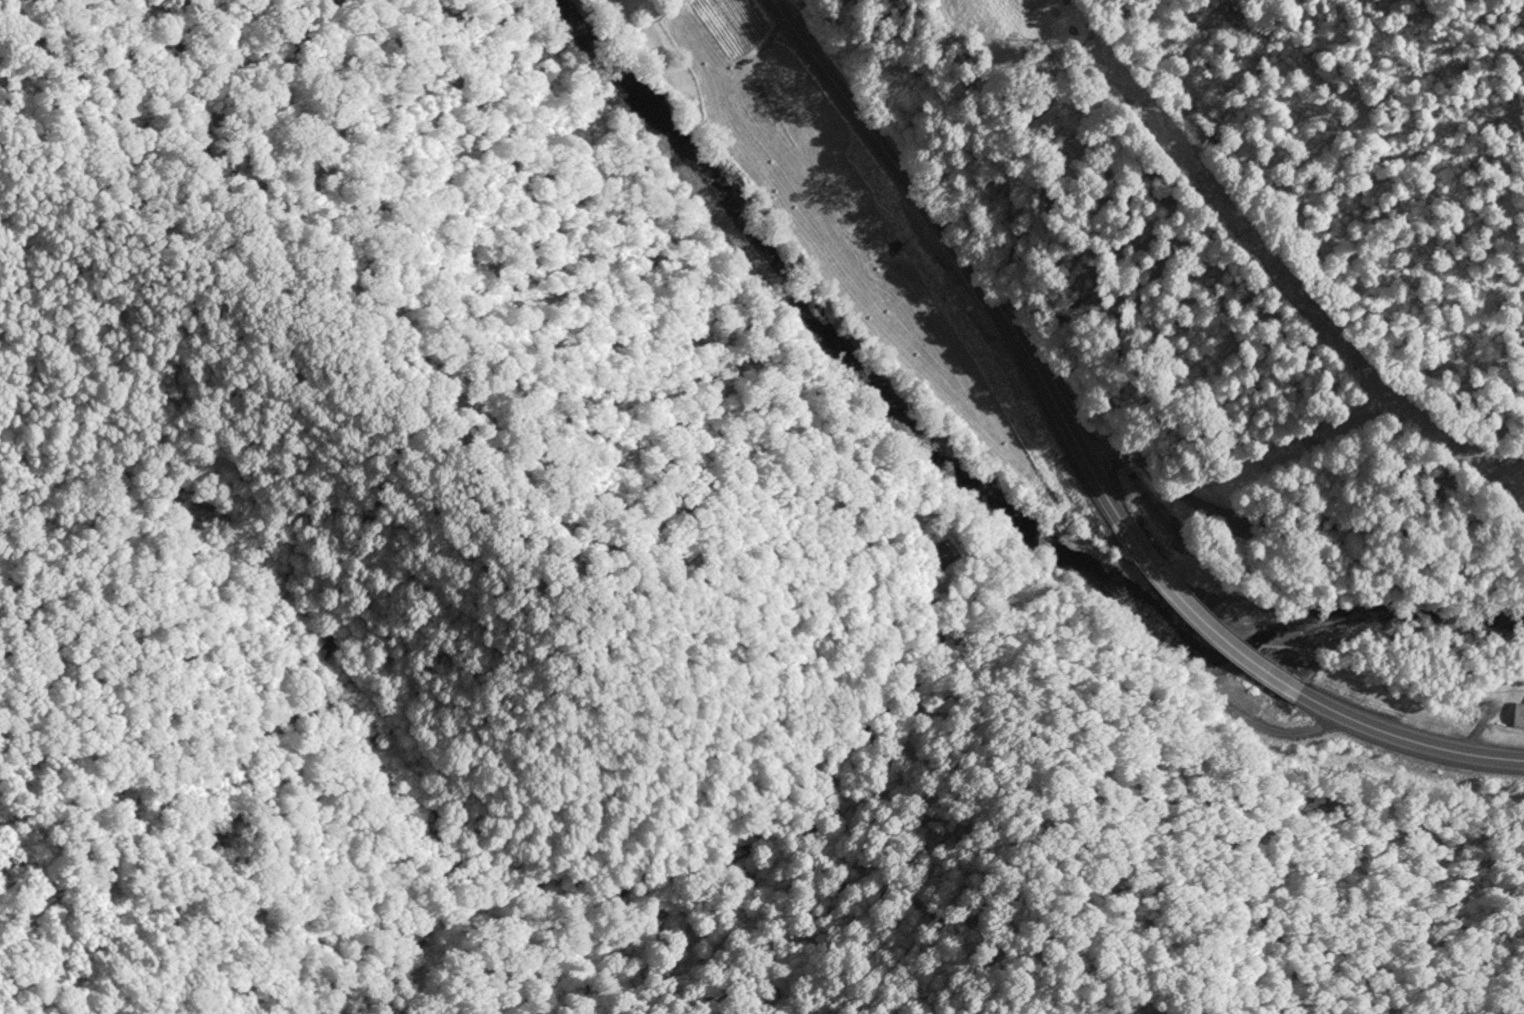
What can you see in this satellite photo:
building: (793, 0)
road: (991, 296)
river: (959, 477)
road: (1290, 519)
road: (1252, 625)
building: (1517, 717)
road: (1400, 719)

